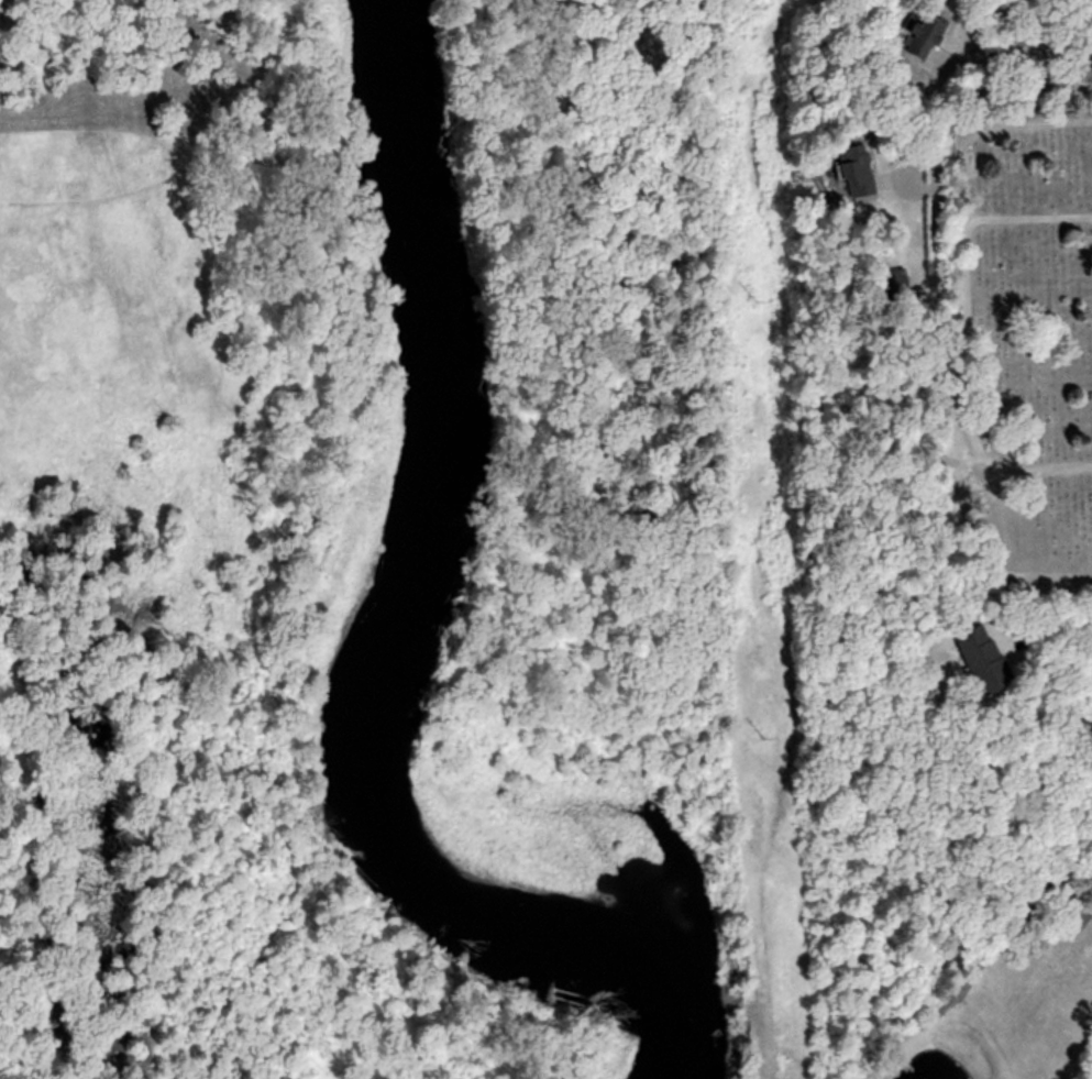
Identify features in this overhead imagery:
building: (933, 36)
building: (865, 172)
road: (1032, 217)
road: (975, 286)
power tower: (754, 290)
park: (1025, 351)
river: (368, 632)
building: (991, 665)
power tower: (772, 727)

